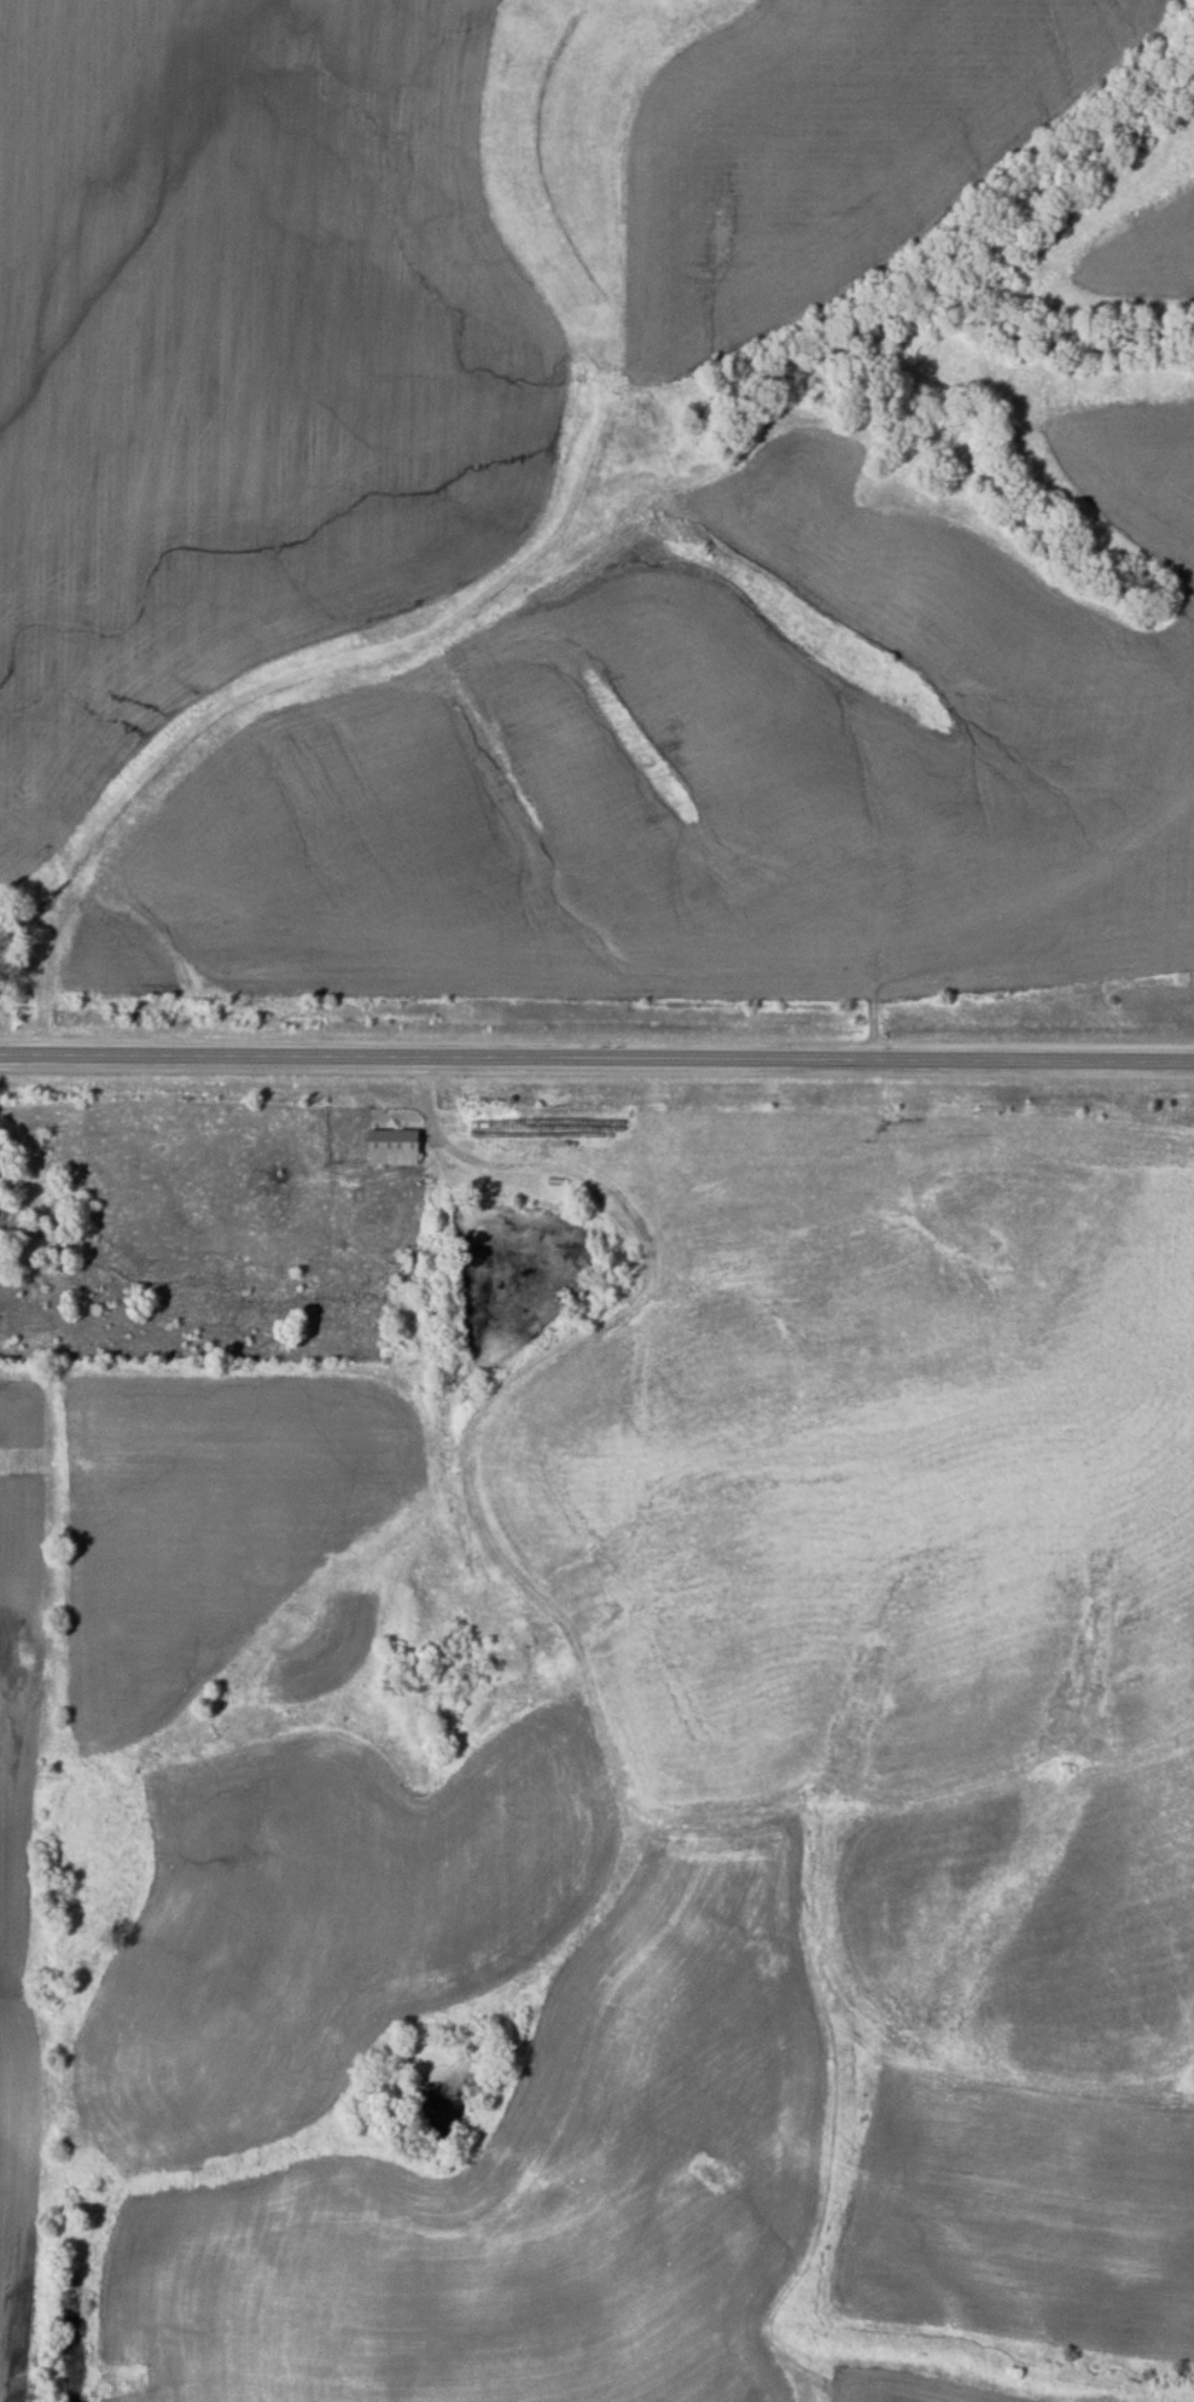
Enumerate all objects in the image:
road: (596, 1055)
building: (389, 1147)

